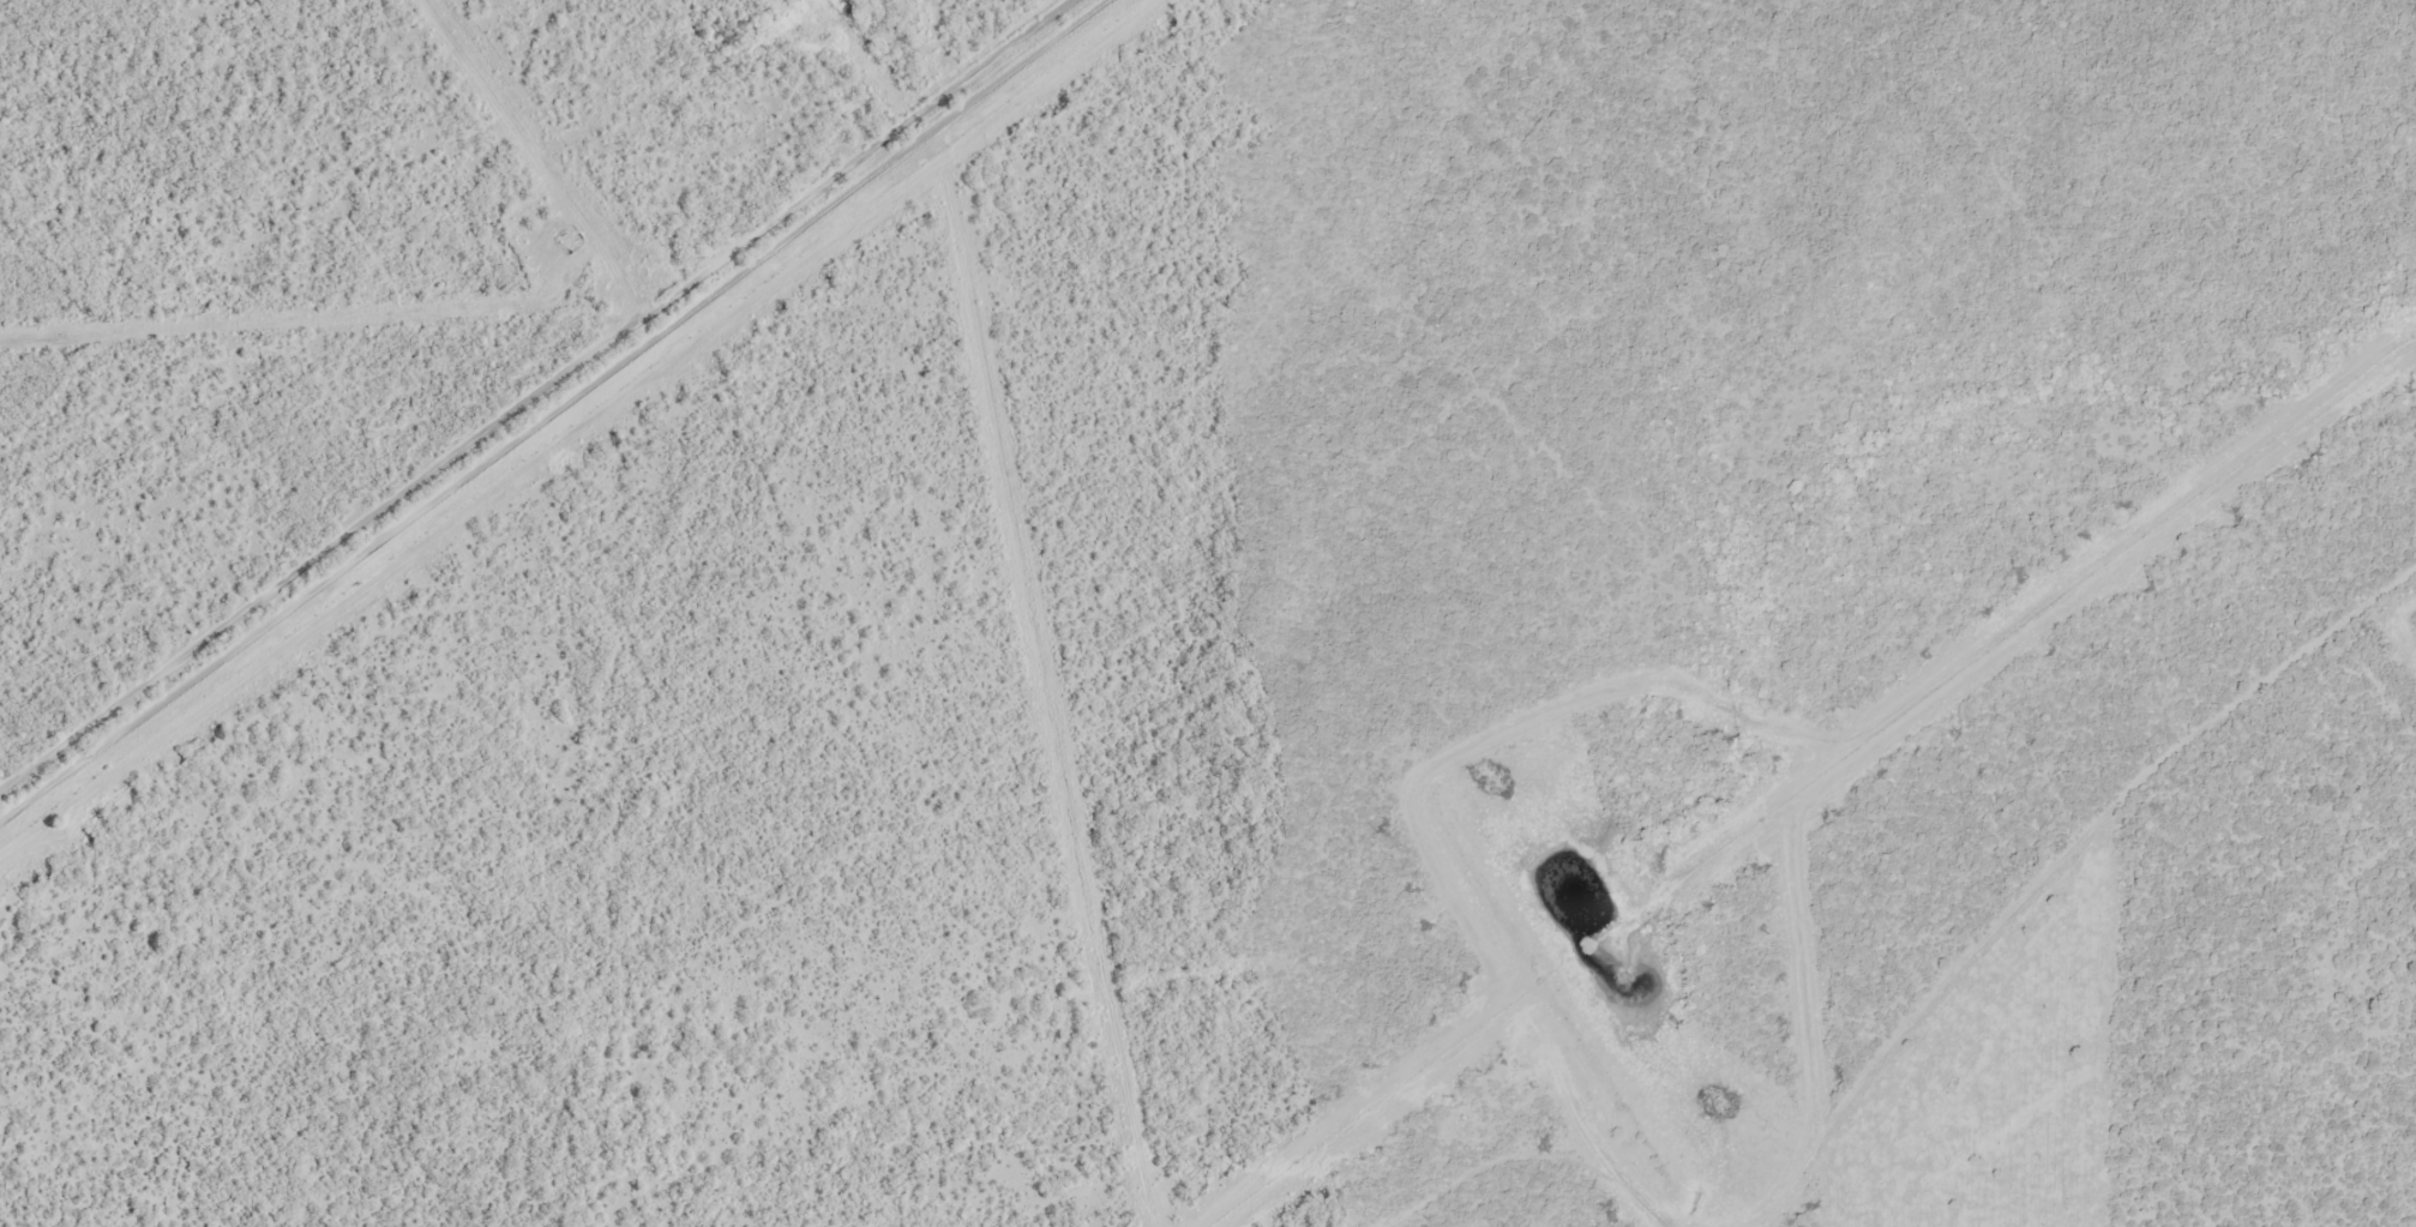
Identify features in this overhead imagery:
road: (557, 413)

